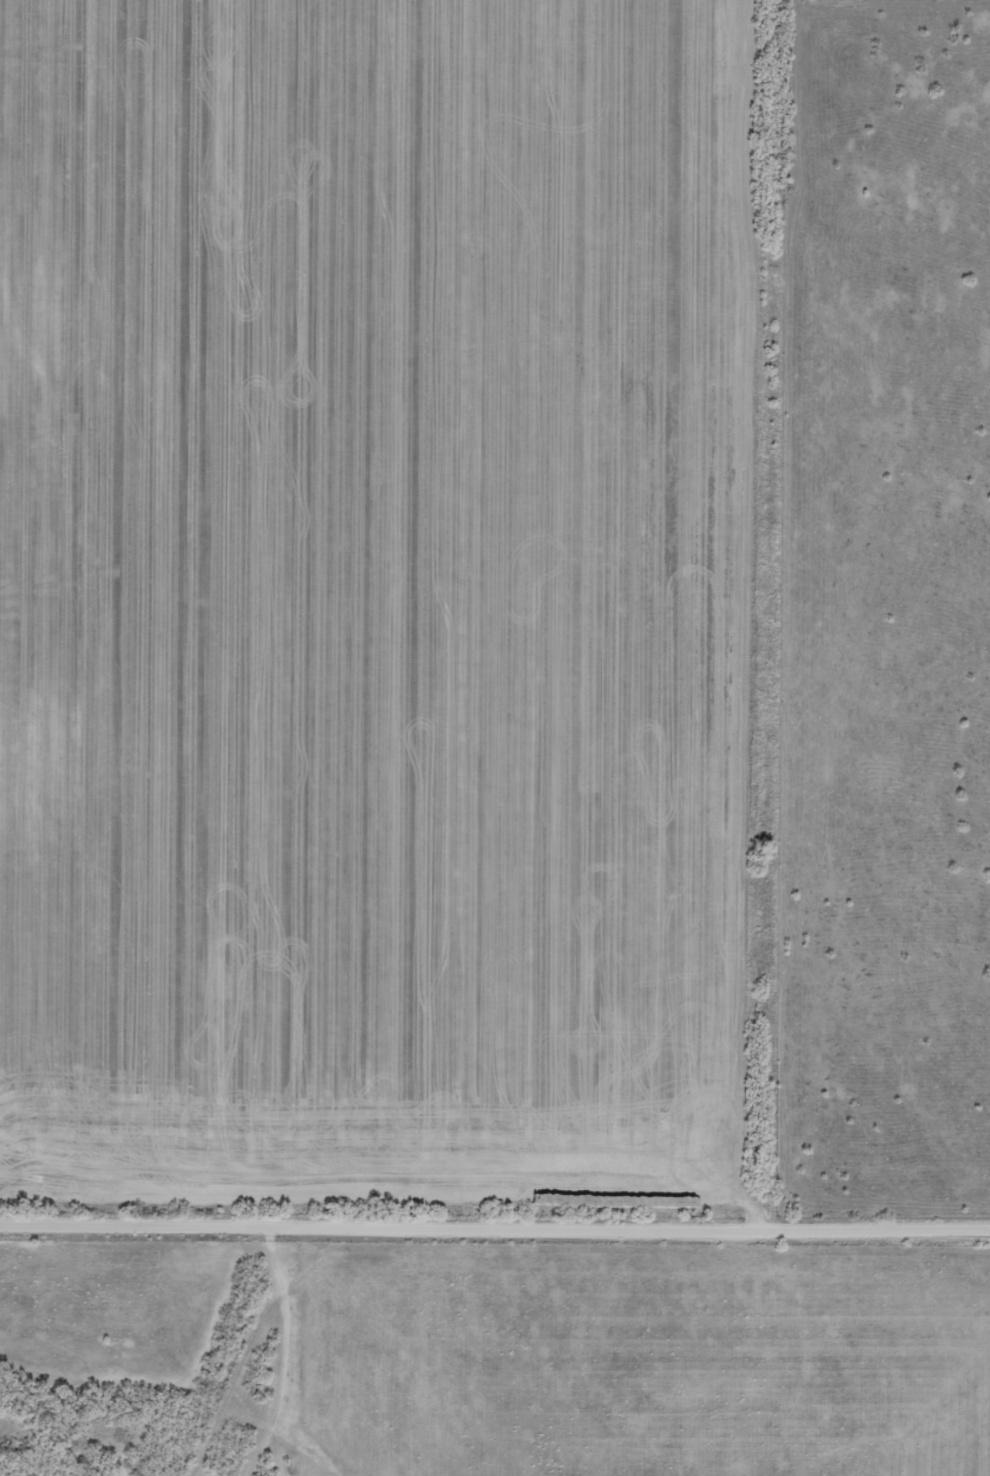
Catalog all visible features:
road: (495, 1215)

